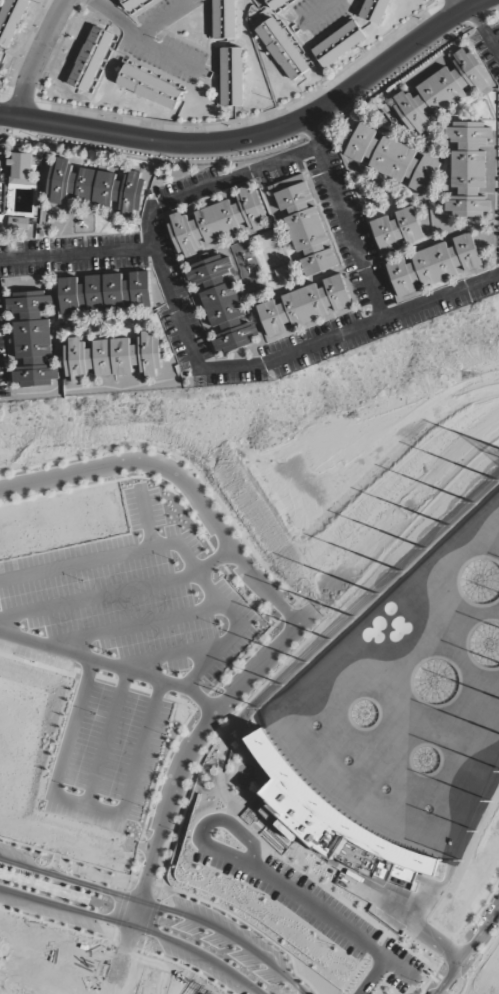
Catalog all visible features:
building: (132, 4)
building: (276, 4)
road: (458, 5)
building: (375, 10)
road: (316, 13)
building: (224, 19)
building: (11, 20)
road: (162, 23)
road: (475, 24)
road: (485, 31)
road: (143, 43)
building: (339, 43)
building: (283, 48)
road: (34, 55)
building: (91, 59)
building: (232, 76)
road: (395, 79)
building: (150, 87)
building: (443, 91)
road: (313, 135)
road: (258, 136)
building: (393, 159)
road: (154, 160)
building: (24, 169)
building: (471, 170)
building: (98, 188)
road: (344, 219)
building: (218, 221)
building: (18, 223)
building: (424, 224)
building: (398, 229)
building: (308, 230)
road: (76, 255)
building: (434, 265)
building: (107, 293)
building: (222, 304)
building: (306, 307)
building: (33, 338)
road: (192, 356)
building: (114, 357)
road: (180, 459)
road: (182, 478)
road: (123, 479)
road: (146, 518)
road: (179, 545)
road: (217, 558)
road: (116, 593)
road: (247, 595)
parking lot: (133, 596)
road: (296, 602)
road: (286, 612)
road: (138, 625)
parking lot: (37, 649)
road: (171, 655)
road: (244, 656)
road: (112, 665)
road: (201, 701)
road: (215, 726)
road: (107, 737)
road: (210, 744)
parking lot: (106, 756)
road: (182, 762)
road: (160, 771)
road: (86, 805)
building: (326, 818)
road: (268, 819)
road: (230, 824)
road: (265, 828)
road: (25, 846)
road: (138, 846)
road: (230, 855)
road: (296, 868)
road: (132, 871)
road: (134, 878)
road: (145, 880)
road: (160, 907)
road: (121, 909)
parking lot: (314, 909)
road: (479, 911)
road: (403, 918)
road: (150, 919)
road: (335, 921)
road: (245, 924)
road: (59, 927)
road: (135, 928)
road: (114, 935)
road: (381, 939)
road: (143, 944)
road: (126, 947)
road: (372, 950)
road: (467, 950)
road: (448, 951)
road: (480, 953)
road: (182, 966)
road: (355, 975)
road: (373, 976)
road: (431, 977)
road: (434, 981)
road: (458, 985)
road: (442, 986)
road: (458, 986)
road: (447, 992)
road: (452, 992)

